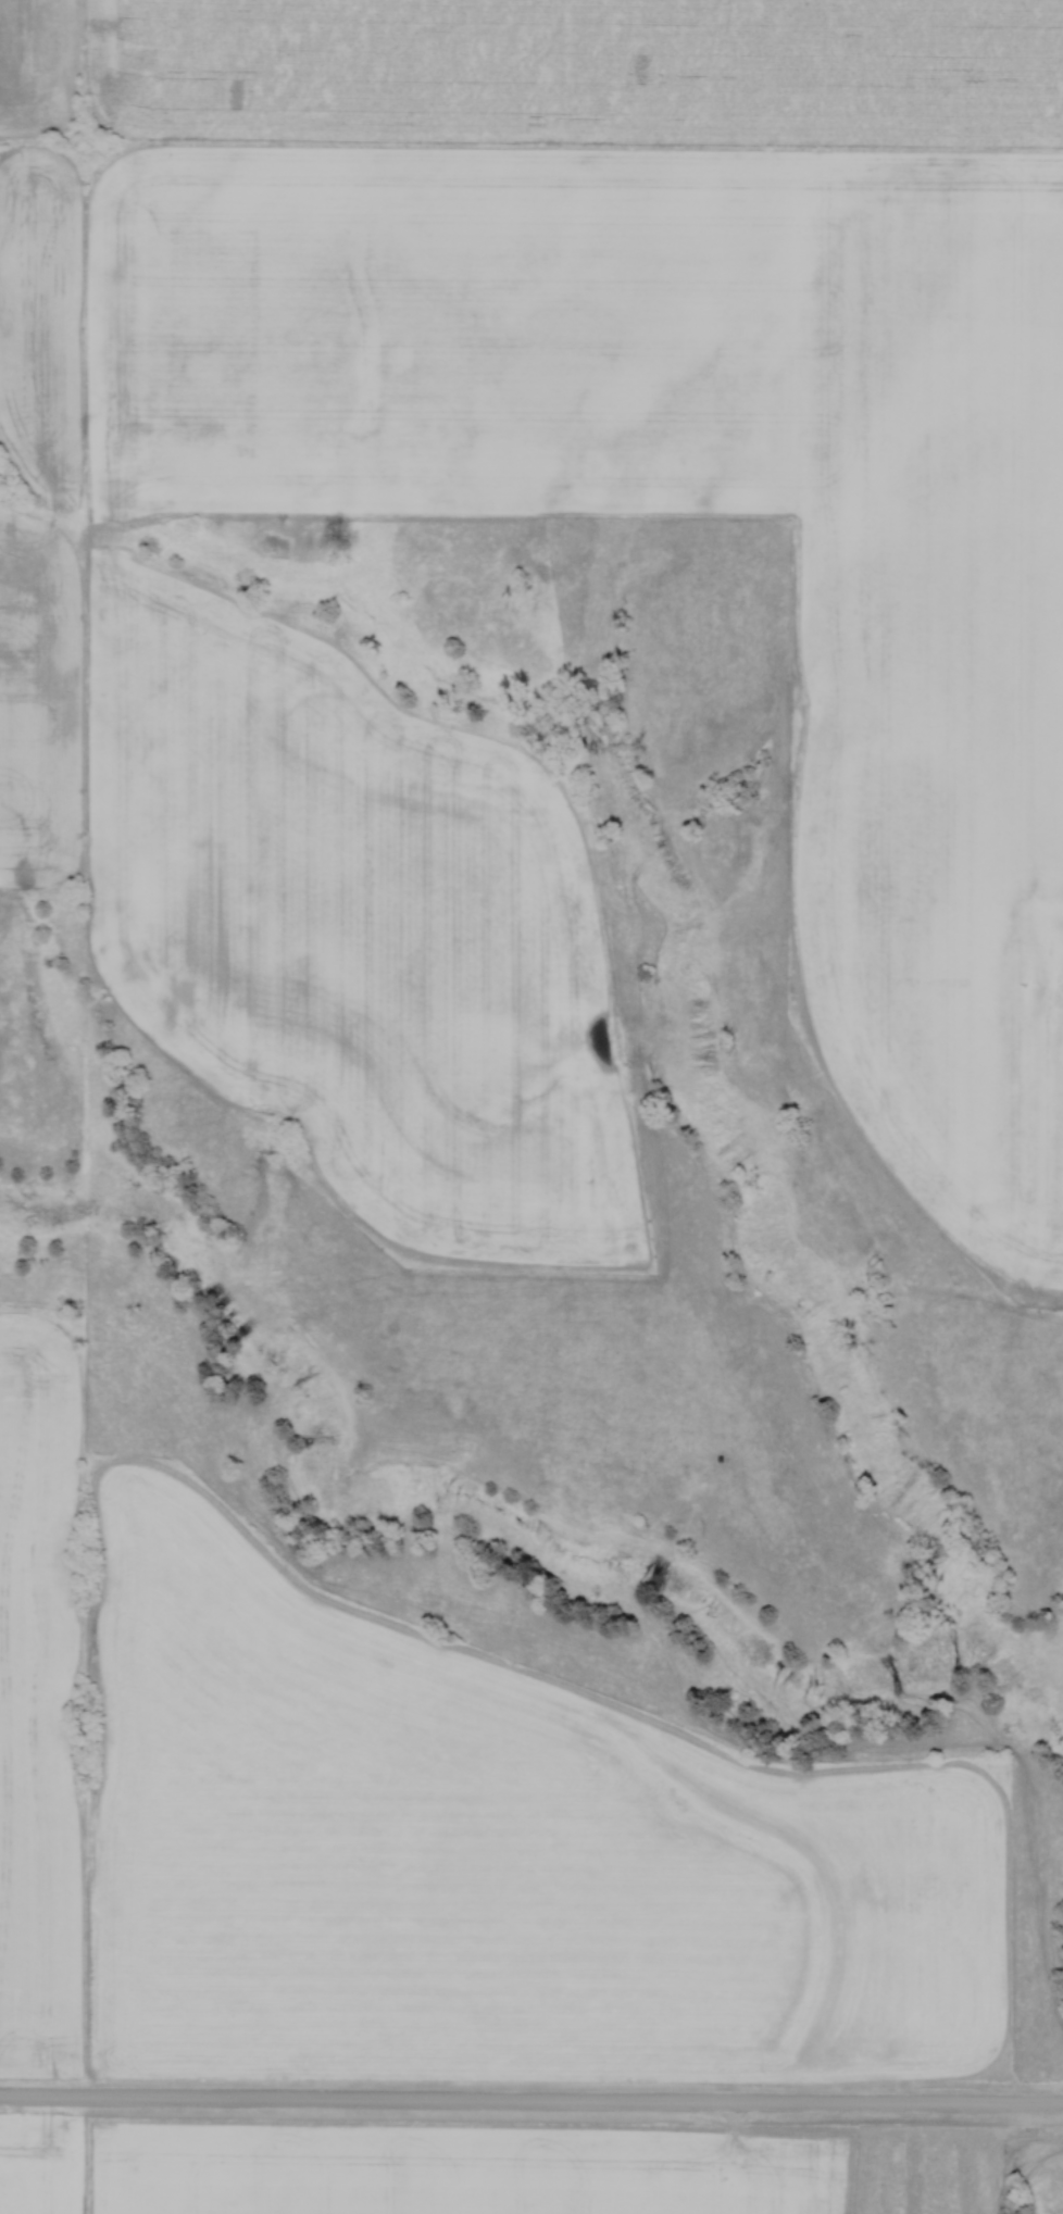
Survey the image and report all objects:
road: (531, 2098)
crop: (37, 2163)

